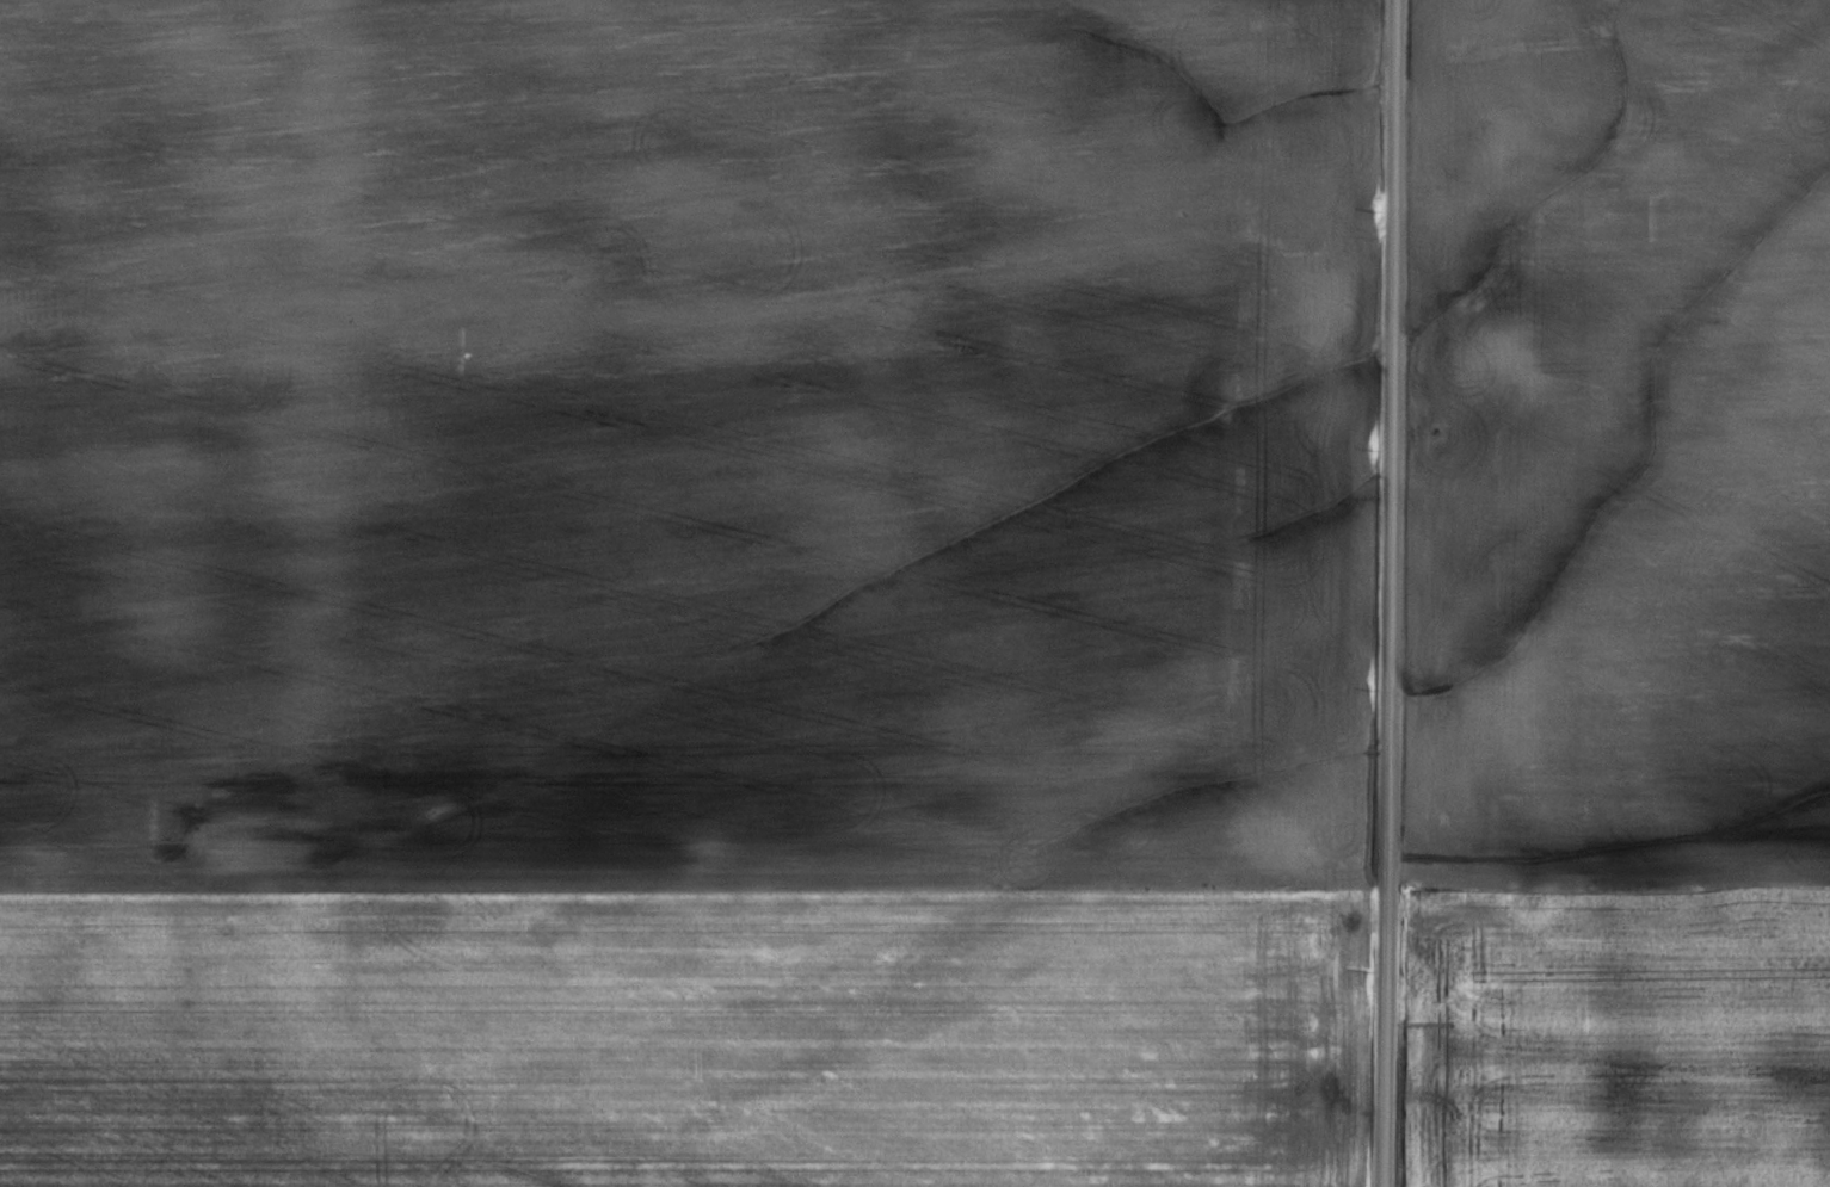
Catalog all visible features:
road: (1392, 593)

